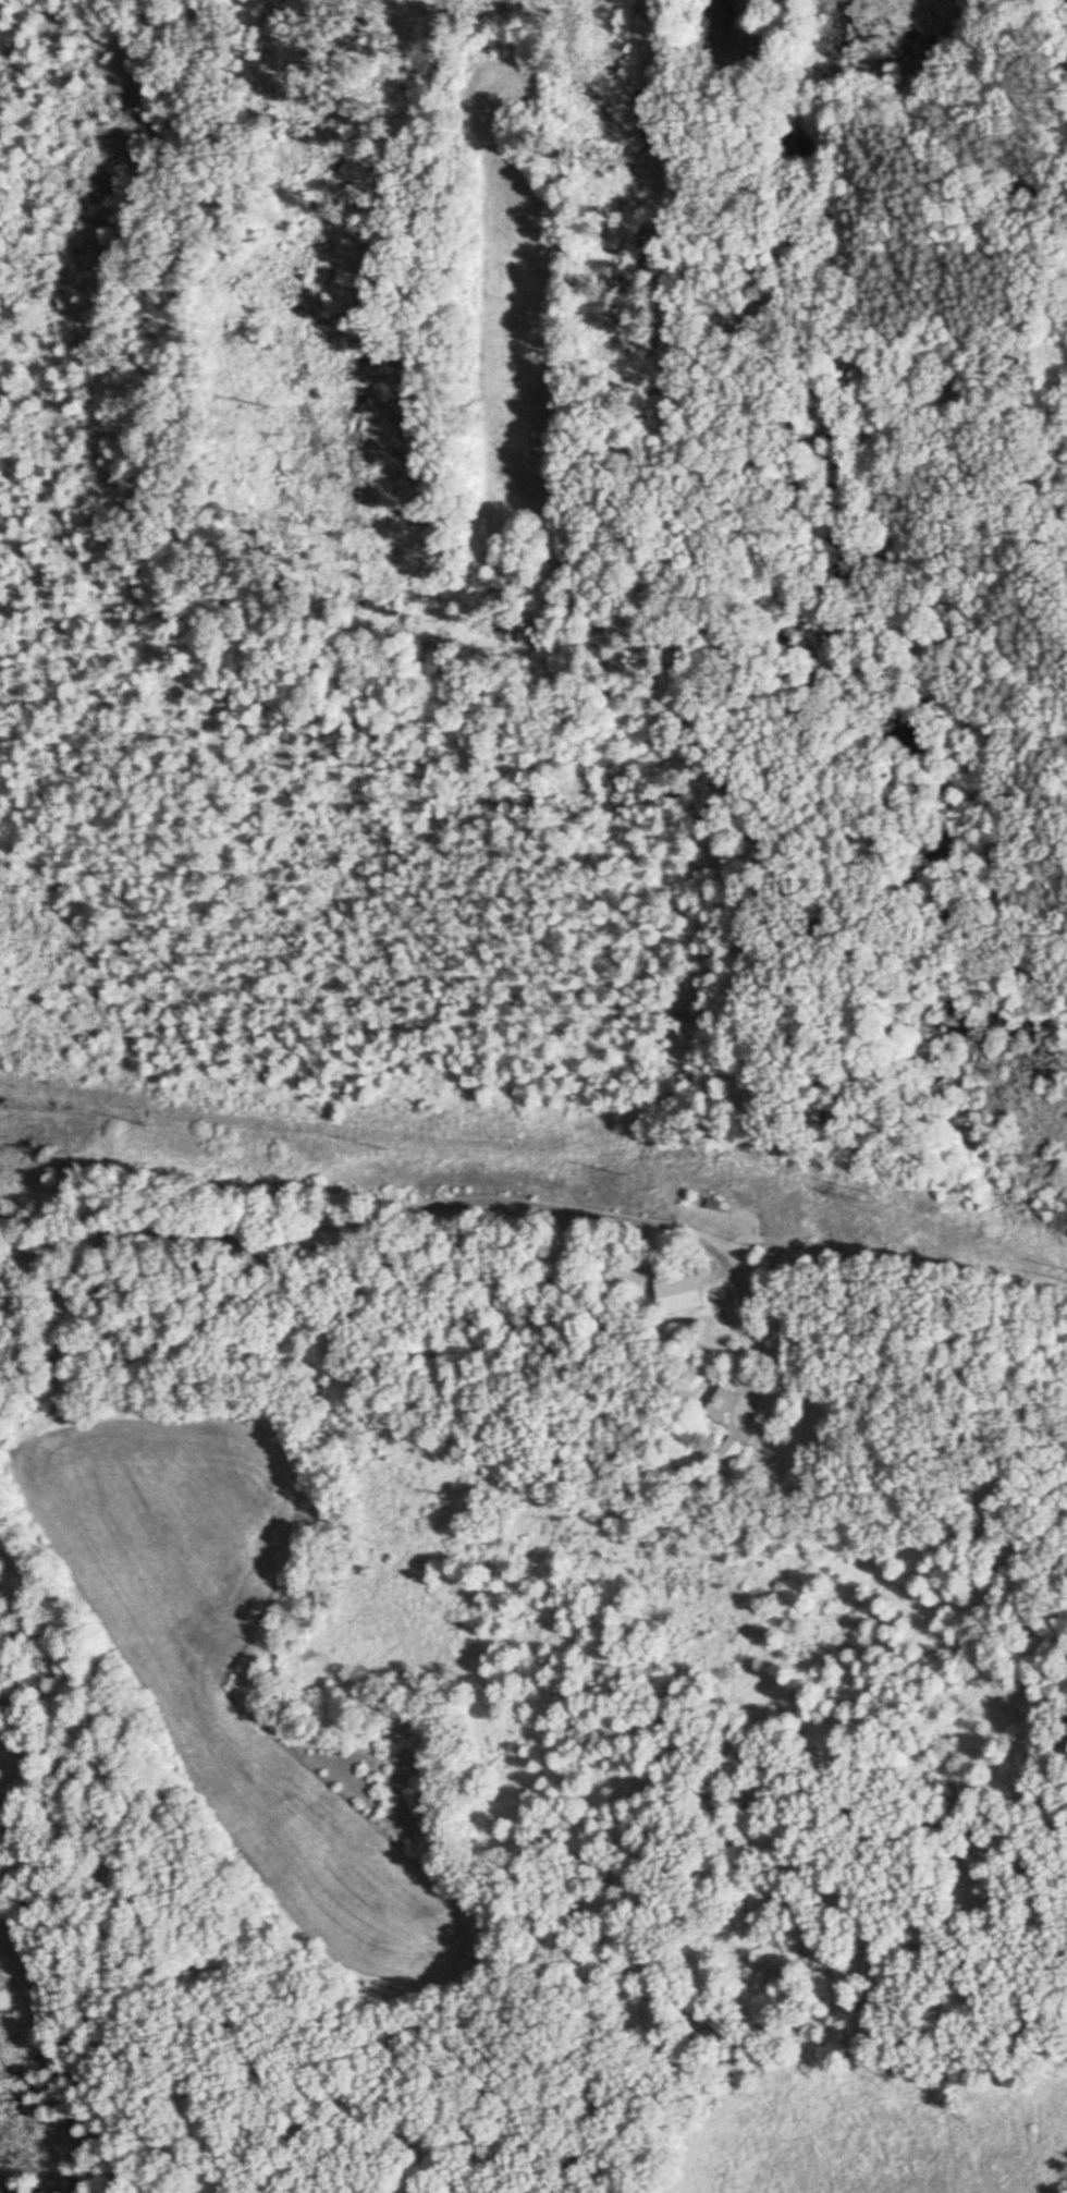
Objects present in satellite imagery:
building: (714, 1207)
road: (368, 1220)
building: (676, 1294)
building: (718, 1400)
building: (728, 1451)

